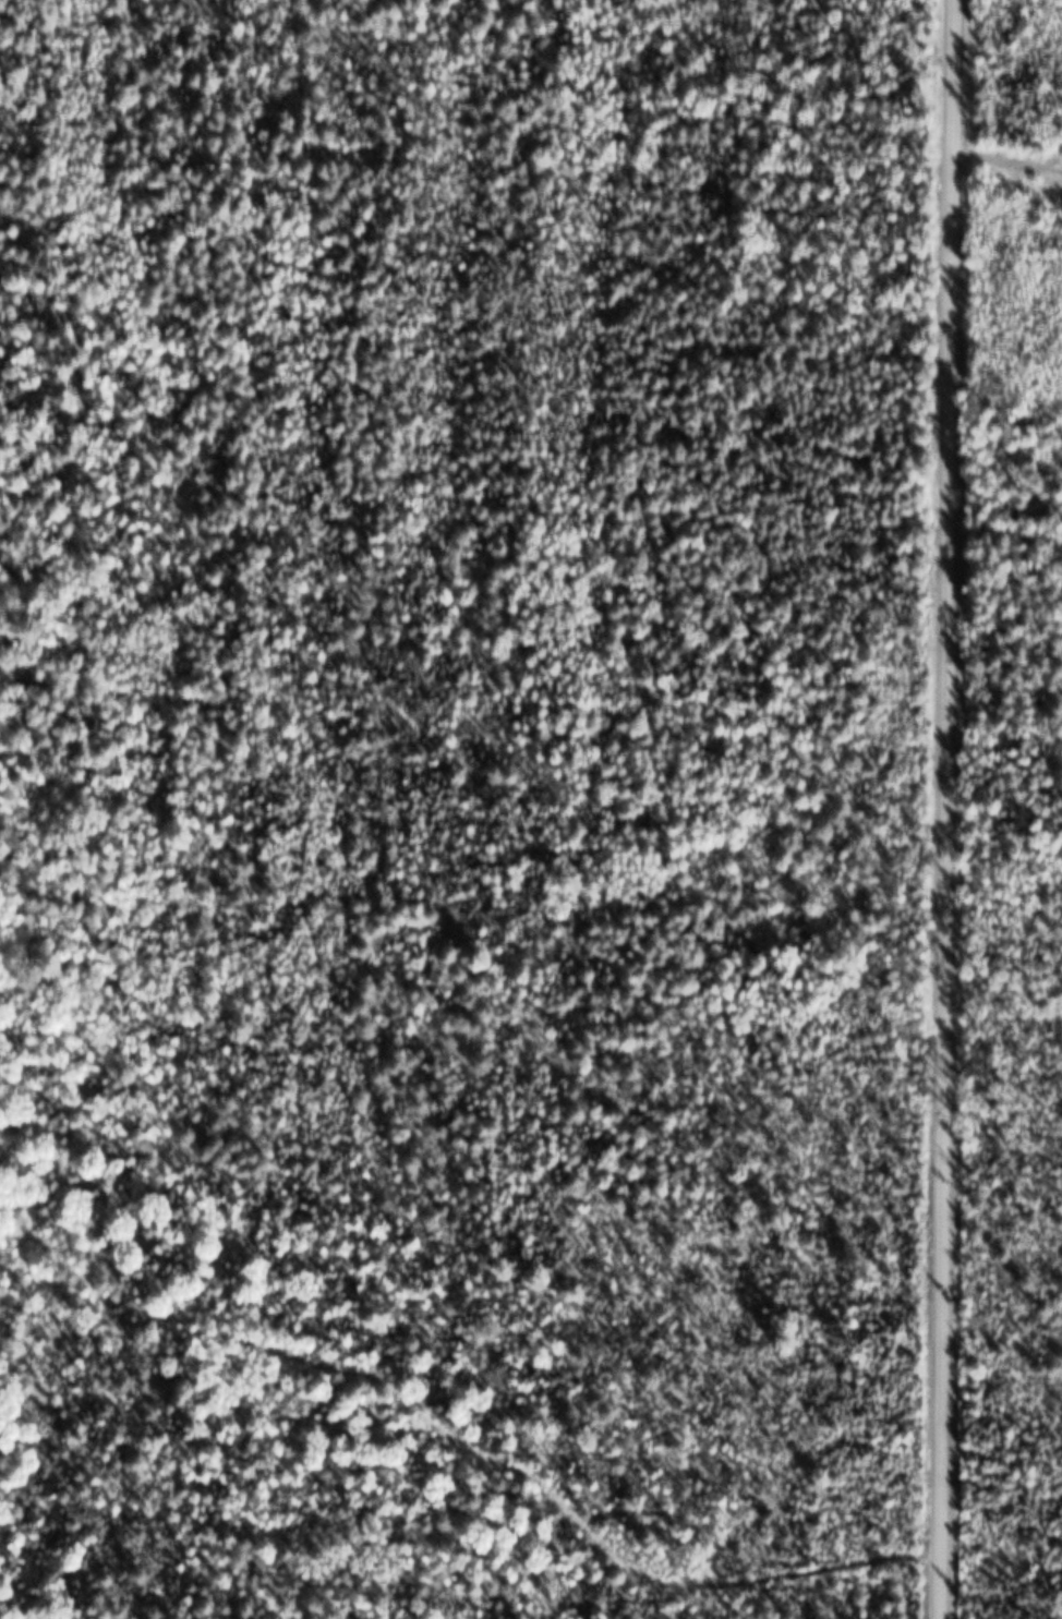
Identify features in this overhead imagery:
road: (945, 809)

